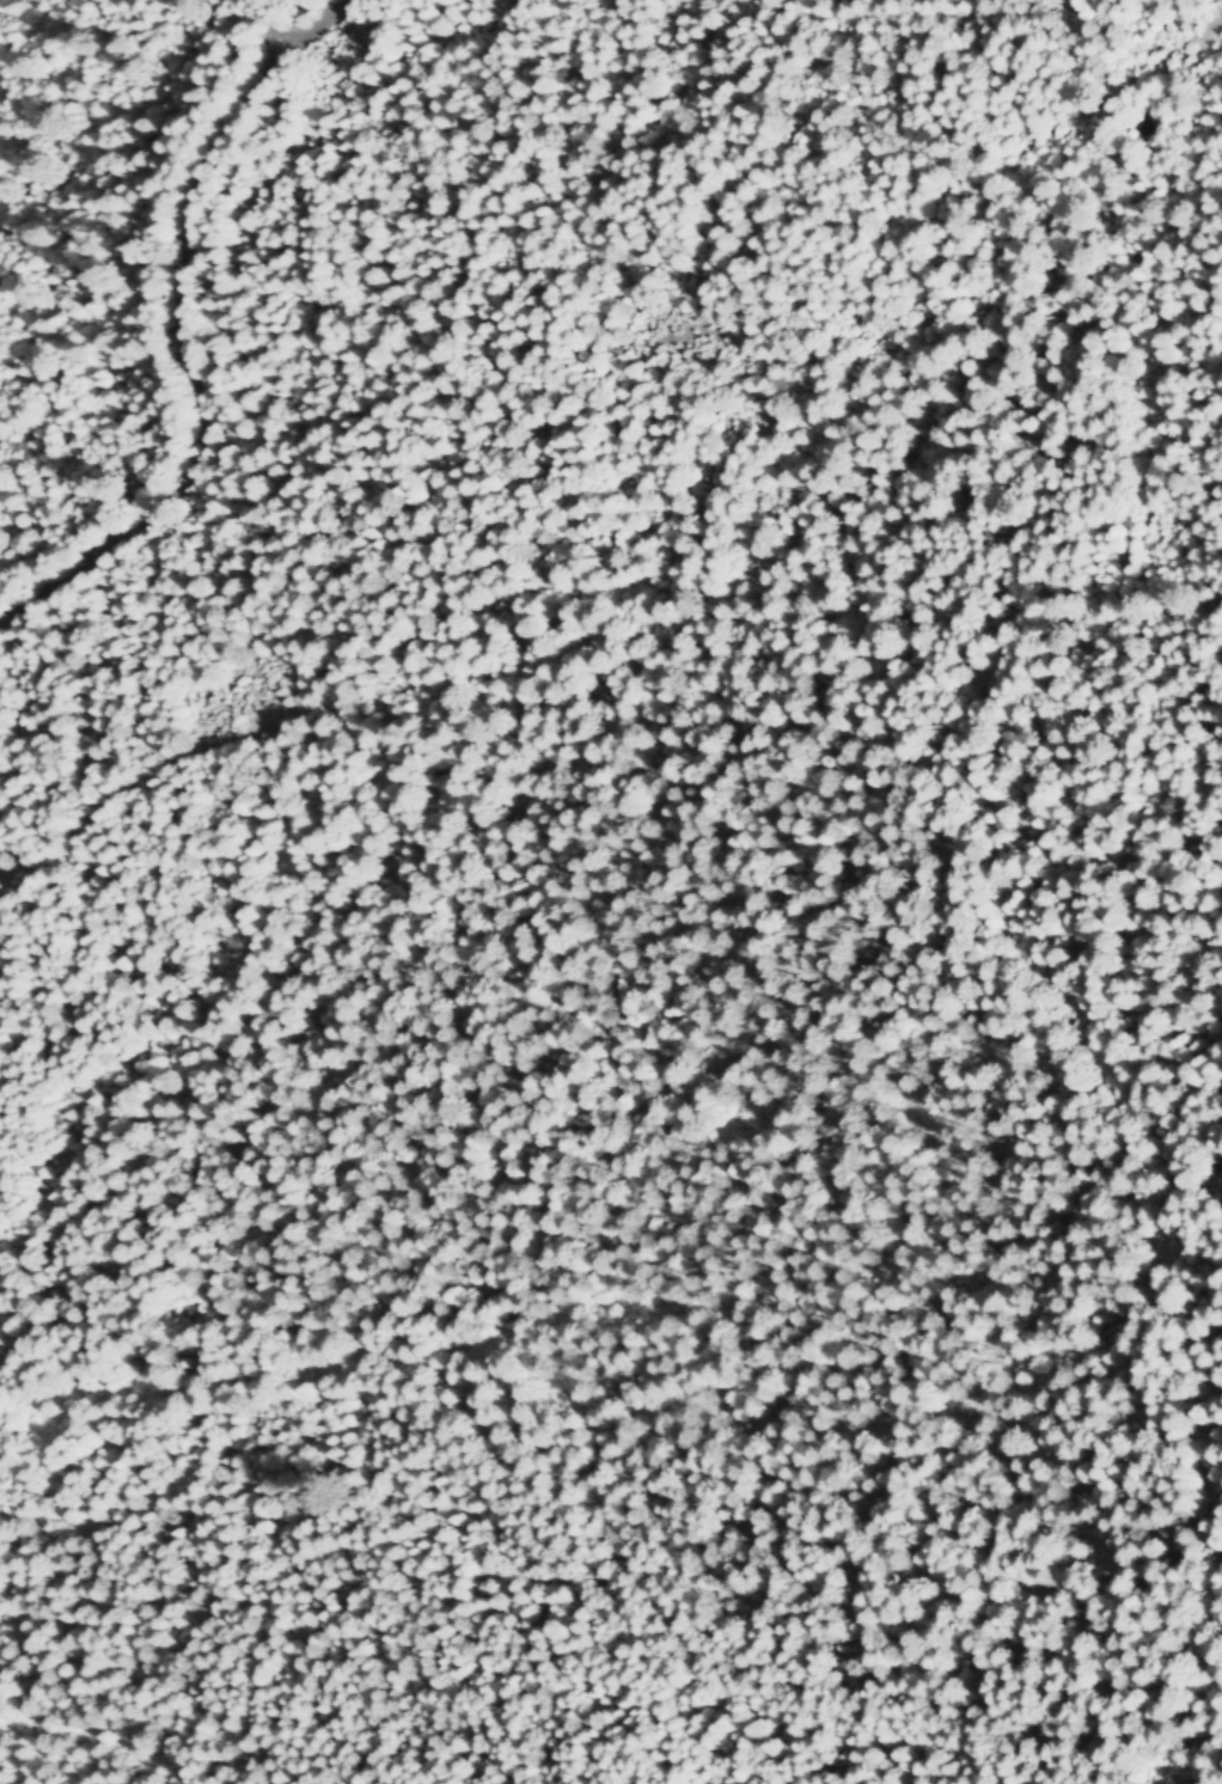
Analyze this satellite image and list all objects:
road: (184, 324)

